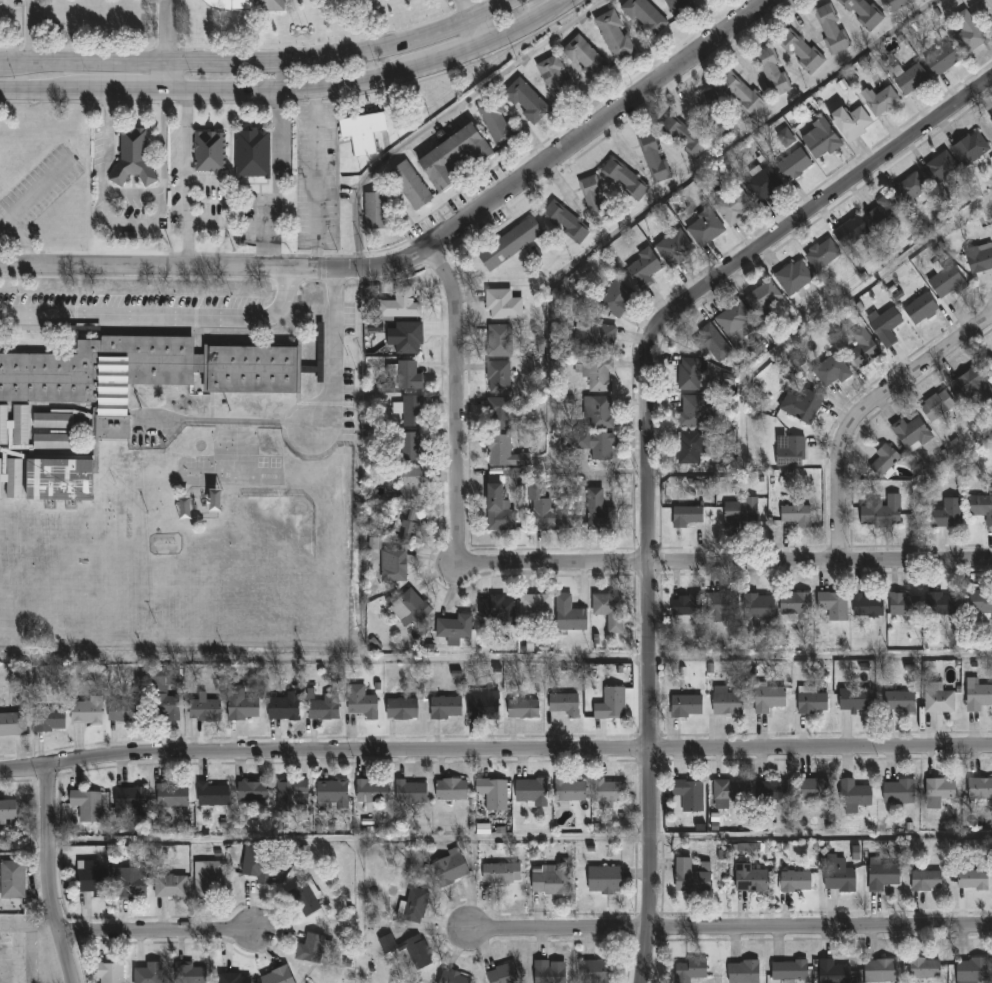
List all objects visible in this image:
building: (895, 3)
building: (247, 4)
building: (678, 6)
road: (471, 8)
building: (862, 11)
building: (644, 15)
road: (528, 23)
building: (830, 27)
road: (481, 30)
road: (166, 31)
building: (967, 31)
road: (33, 32)
building: (613, 34)
road: (336, 44)
road: (77, 50)
road: (167, 50)
building: (798, 50)
road: (451, 57)
building: (584, 57)
building: (941, 59)
road: (260, 62)
building: (771, 70)
road: (166, 77)
building: (554, 79)
building: (910, 79)
road: (46, 90)
road: (291, 90)
road: (129, 91)
building: (740, 92)
building: (525, 100)
building: (879, 101)
road: (107, 104)
building: (711, 114)
road: (445, 115)
building: (990, 119)
building: (495, 121)
building: (849, 122)
road: (607, 126)
building: (362, 132)
building: (682, 135)
building: (786, 138)
building: (821, 140)
road: (162, 141)
building: (969, 148)
building: (209, 152)
building: (252, 154)
building: (452, 155)
building: (134, 156)
building: (653, 156)
building: (792, 164)
building: (938, 167)
building: (623, 177)
road: (187, 180)
road: (317, 180)
road: (277, 181)
building: (762, 184)
building: (409, 185)
building: (908, 190)
road: (32, 191)
road: (148, 191)
building: (592, 194)
road: (337, 195)
building: (733, 206)
building: (375, 210)
building: (881, 211)
building: (564, 221)
building: (703, 226)
building: (850, 231)
road: (24, 240)
building: (509, 243)
building: (673, 248)
building: (820, 253)
building: (979, 257)
building: (643, 266)
road: (218, 270)
building: (792, 276)
building: (945, 281)
building: (762, 297)
building: (615, 298)
building: (399, 304)
building: (501, 304)
building: (919, 308)
road: (160, 316)
building: (733, 321)
building: (883, 324)
building: (592, 335)
building: (407, 337)
building: (498, 340)
building: (709, 342)
building: (862, 348)
road: (334, 354)
building: (143, 370)
building: (831, 371)
building: (689, 373)
building: (407, 374)
building: (599, 375)
building: (497, 376)
building: (966, 384)
road: (452, 385)
building: (800, 404)
building: (936, 404)
building: (596, 410)
building: (692, 410)
building: (411, 411)
building: (498, 413)
road: (865, 413)
building: (53, 421)
building: (14, 428)
building: (112, 428)
building: (910, 433)
building: (52, 441)
building: (593, 444)
building: (689, 446)
building: (408, 447)
road: (649, 447)
building: (501, 451)
building: (790, 452)
building: (882, 460)
building: (511, 472)
building: (12, 478)
building: (58, 479)
building: (411, 483)
building: (981, 507)
building: (544, 508)
building: (497, 509)
building: (598, 511)
building: (739, 512)
building: (795, 512)
building: (880, 512)
building: (945, 512)
building: (687, 515)
building: (407, 524)
building: (388, 561)
road: (707, 565)
building: (904, 603)
building: (939, 603)
building: (686, 604)
building: (795, 605)
building: (831, 605)
building: (867, 605)
building: (408, 606)
building: (534, 606)
building: (721, 606)
building: (978, 606)
building: (758, 607)
building: (496, 608)
building: (608, 609)
building: (568, 613)
building: (454, 627)
road: (821, 655)
building: (977, 696)
building: (767, 699)
building: (854, 700)
building: (899, 702)
building: (938, 702)
building: (360, 703)
building: (811, 704)
building: (240, 705)
building: (562, 705)
building: (609, 705)
building: (727, 705)
building: (163, 706)
building: (482, 706)
building: (685, 707)
building: (282, 708)
building: (323, 709)
building: (444, 709)
building: (203, 710)
building: (522, 710)
building: (400, 711)
building: (123, 712)
building: (85, 713)
building: (48, 721)
building: (12, 725)
road: (495, 755)
building: (812, 790)
building: (939, 790)
building: (979, 790)
building: (450, 791)
building: (569, 791)
building: (728, 791)
building: (251, 792)
building: (608, 792)
building: (773, 792)
building: (370, 793)
building: (530, 793)
building: (897, 793)
building: (291, 794)
building: (409, 794)
building: (490, 794)
building: (331, 795)
building: (853, 795)
building: (212, 796)
building: (688, 796)
building: (171, 797)
building: (129, 802)
building: (85, 806)
building: (8, 809)
road: (821, 837)
road: (348, 840)
building: (856, 853)
road: (48, 868)
building: (258, 868)
building: (449, 870)
building: (500, 874)
building: (837, 875)
building: (881, 876)
building: (12, 879)
building: (90, 879)
building: (689, 879)
building: (207, 880)
building: (603, 881)
building: (750, 881)
building: (971, 881)
building: (549, 882)
building: (925, 882)
building: (794, 883)
building: (129, 887)
building: (170, 887)
building: (304, 900)
building: (414, 906)
road: (731, 929)
road: (158, 937)
building: (309, 951)
building: (408, 951)
building: (22, 958)
building: (687, 970)
building: (922, 970)
building: (788, 971)
building: (970, 971)
building: (548, 972)
building: (596, 972)
building: (742, 972)
building: (879, 972)
building: (831, 973)
building: (109, 974)
building: (147, 974)
building: (188, 974)
building: (503, 974)
building: (276, 977)
building: (451, 978)
building: (234, 979)

